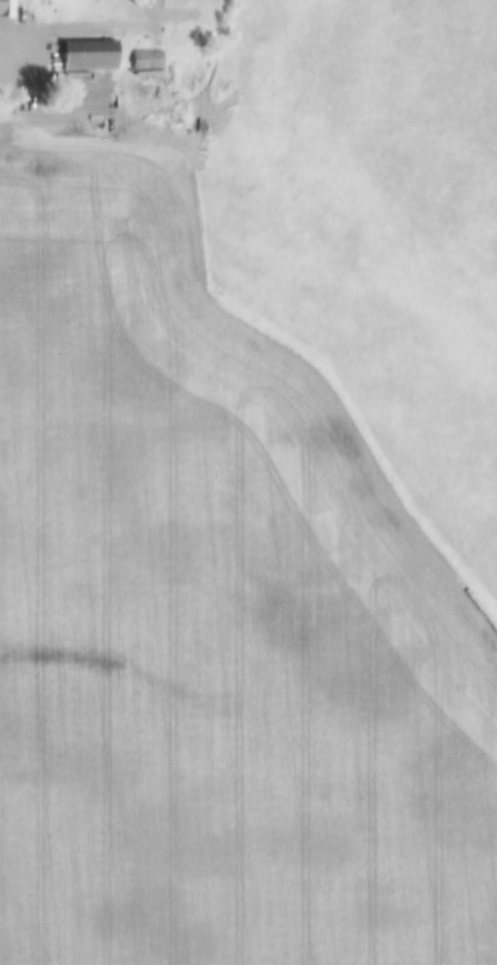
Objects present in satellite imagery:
building: (89, 57)
building: (147, 61)

